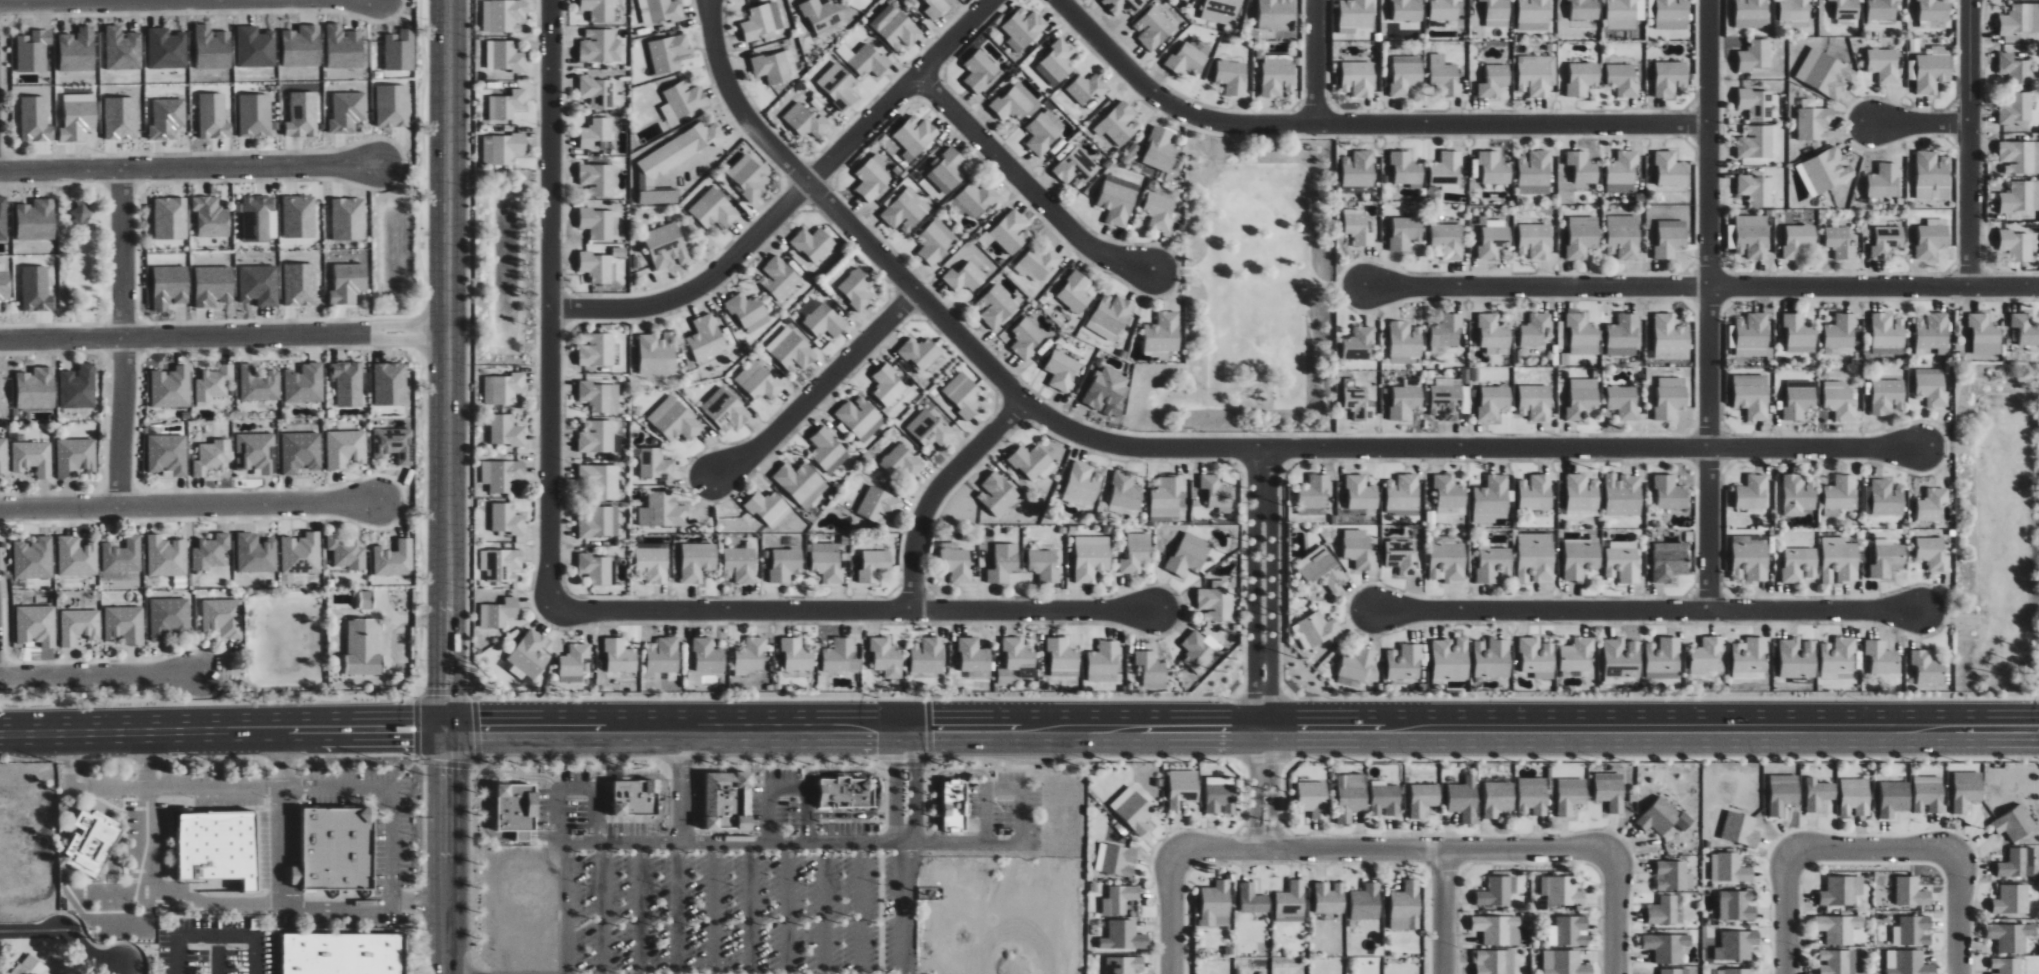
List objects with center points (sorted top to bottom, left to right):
road: (51, 1)
building: (912, 2)
building: (1123, 6)
building: (935, 8)
building: (1585, 9)
building: (1847, 9)
building: (1883, 9)
building: (599, 10)
building: (1407, 10)
building: (1445, 10)
building: (1534, 10)
building: (1933, 10)
building: (661, 11)
building: (1221, 11)
building: (1795, 12)
building: (1356, 13)
building: (1497, 13)
building: (1751, 13)
building: (1276, 14)
building: (1624, 14)
building: (1672, 14)
building: (504, 15)
building: (822, 17)
building: (2021, 19)
building: (763, 20)
building: (896, 26)
building: (1534, 26)
building: (1024, 28)
building: (1153, 28)
building: (302, 46)
building: (343, 46)
building: (600, 46)
building: (213, 47)
building: (255, 47)
building: (122, 48)
building: (166, 49)
building: (77, 50)
building: (399, 50)
building: (33, 51)
building: (668, 53)
building: (1756, 55)
building: (505, 56)
building: (1186, 60)
building: (869, 61)
building: (1057, 62)
road: (1316, 62)
building: (1884, 64)
building: (772, 68)
building: (2015, 68)
building: (980, 71)
building: (1826, 73)
building: (1406, 74)
building: (1445, 74)
building: (1536, 74)
building: (1232, 76)
building: (1276, 77)
building: (1582, 78)
building: (1671, 78)
building: (1358, 79)
building: (1622, 79)
building: (1495, 80)
building: (838, 85)
building: (1087, 88)
building: (598, 92)
building: (682, 100)
building: (1016, 102)
building: (508, 104)
building: (1757, 104)
building: (392, 105)
building: (2017, 108)
building: (347, 112)
building: (255, 115)
building: (302, 115)
building: (213, 116)
building: (78, 117)
building: (120, 118)
building: (167, 118)
building: (35, 120)
building: (806, 121)
building: (1815, 123)
building: (1119, 124)
road: (1923, 124)
road: (1361, 125)
building: (596, 132)
building: (1044, 132)
building: (915, 136)
building: (1756, 142)
road: (1971, 142)
building: (502, 148)
building: (1160, 150)
building: (2020, 157)
building: (674, 161)
road: (190, 166)
building: (1075, 167)
building: (1582, 167)
building: (1494, 168)
building: (1358, 169)
building: (1407, 169)
building: (1446, 169)
building: (1670, 169)
building: (1828, 170)
building: (947, 171)
building: (1534, 173)
building: (1622, 173)
building: (750, 175)
building: (872, 178)
building: (598, 179)
building: (1885, 181)
road: (1025, 187)
building: (1757, 190)
road: (790, 195)
building: (2021, 196)
building: (975, 200)
building: (1117, 203)
building: (714, 210)
building: (906, 210)
building: (1158, 211)
building: (81, 213)
building: (299, 216)
building: (212, 217)
building: (260, 217)
building: (171, 218)
building: (3, 219)
building: (348, 219)
building: (36, 220)
building: (598, 223)
building: (1357, 227)
building: (1011, 232)
building: (1405, 233)
building: (1582, 236)
building: (1623, 236)
building: (1753, 236)
building: (1671, 238)
building: (1932, 238)
building: (1494, 239)
building: (1448, 240)
building: (1799, 240)
building: (935, 241)
building: (1535, 241)
building: (1843, 241)
building: (1887, 242)
building: (813, 244)
building: (2016, 245)
building: (666, 246)
building: (1039, 264)
building: (596, 267)
building: (965, 277)
building: (779, 278)
building: (348, 283)
building: (5, 284)
building: (258, 284)
building: (300, 284)
road: (1700, 285)
building: (170, 286)
building: (213, 286)
building: (856, 288)
building: (36, 289)
building: (1075, 292)
road: (551, 304)
road: (1709, 304)
building: (996, 306)
building: (748, 311)
building: (1110, 316)
building: (822, 323)
building: (2025, 328)
building: (1535, 329)
building: (1840, 331)
building: (1886, 331)
building: (1446, 333)
building: (1494, 333)
building: (1799, 333)
building: (1932, 333)
building: (1582, 334)
building: (1671, 334)
building: (1162, 335)
building: (1623, 335)
road: (121, 336)
road: (224, 336)
building: (1753, 336)
building: (1984, 336)
building: (706, 338)
building: (1026, 338)
building: (1404, 341)
road: (449, 344)
building: (1359, 344)
building: (597, 350)
building: (791, 350)
building: (1887, 352)
building: (657, 353)
building: (919, 353)
building: (1061, 370)
building: (213, 382)
building: (348, 383)
building: (761, 383)
building: (258, 384)
building: (304, 384)
building: (390, 384)
building: (888, 385)
building: (1931, 386)
building: (77, 387)
building: (171, 387)
building: (504, 388)
building: (35, 389)
building: (1108, 390)
road: (816, 391)
building: (0, 393)
building: (600, 396)
building: (1449, 396)
building: (1886, 396)
building: (1671, 397)
building: (966, 398)
building: (1406, 399)
building: (1582, 399)
building: (1752, 399)
building: (1799, 399)
building: (1839, 400)
building: (1357, 401)
building: (1494, 401)
building: (1536, 402)
building: (1624, 402)
building: (728, 412)
building: (859, 416)
building: (674, 420)
building: (929, 429)
building: (506, 430)
building: (597, 436)
building: (393, 444)
building: (345, 448)
road: (1203, 448)
building: (828, 450)
building: (256, 452)
building: (301, 452)
building: (168, 454)
building: (3, 456)
building: (75, 457)
building: (212, 457)
building: (32, 458)
building: (901, 462)
building: (1033, 462)
building: (655, 464)
building: (503, 475)
building: (600, 480)
building: (801, 483)
building: (1083, 484)
building: (1217, 492)
building: (1315, 492)
building: (1536, 492)
road: (938, 493)
building: (997, 493)
building: (1361, 493)
building: (1403, 493)
building: (1670, 493)
building: (1841, 493)
building: (1125, 494)
building: (1623, 494)
building: (1753, 494)
building: (1799, 494)
building: (1167, 495)
building: (1450, 495)
building: (1582, 495)
building: (1492, 496)
building: (1887, 497)
road: (188, 503)
building: (878, 505)
building: (1932, 505)
building: (768, 508)
building: (663, 510)
building: (507, 519)
building: (600, 523)
building: (1358, 549)
building: (210, 552)
building: (346, 552)
building: (1932, 552)
building: (256, 553)
building: (1136, 553)
building: (301, 554)
building: (1189, 554)
building: (166, 556)
building: (76, 557)
building: (1091, 557)
building: (1402, 557)
building: (1535, 557)
building: (1581, 557)
building: (33, 559)
building: (123, 559)
building: (393, 559)
building: (1888, 559)
building: (1840, 560)
building: (697, 561)
building: (827, 561)
building: (1448, 561)
building: (1623, 561)
building: (1671, 562)
building: (1750, 562)
building: (1004, 563)
building: (501, 564)
building: (652, 564)
building: (785, 564)
building: (957, 564)
building: (1494, 564)
building: (1800, 564)
building: (739, 565)
building: (874, 565)
building: (1044, 565)
building: (595, 569)
building: (1323, 572)
road: (1254, 588)
road: (1272, 588)
building: (366, 600)
building: (1216, 602)
road: (731, 609)
road: (1029, 609)
road: (1644, 610)
building: (499, 613)
building: (168, 617)
building: (222, 617)
building: (36, 624)
building: (125, 624)
building: (79, 626)
building: (1318, 629)
building: (363, 647)
building: (1197, 651)
building: (530, 654)
building: (797, 654)
building: (1577, 654)
building: (663, 655)
building: (708, 655)
building: (751, 655)
building: (928, 655)
building: (974, 655)
building: (1749, 655)
building: (620, 656)
building: (841, 657)
building: (887, 657)
building: (1062, 657)
building: (1705, 657)
building: (1881, 657)
building: (1492, 658)
building: (1537, 658)
building: (1621, 658)
building: (1663, 658)
building: (1797, 658)
building: (1451, 659)
building: (1017, 660)
building: (1104, 662)
building: (1404, 662)
building: (573, 663)
building: (1357, 667)
building: (1927, 667)
building: (1151, 670)
building: (978, 674)
road: (98, 675)
traffic signals: (449, 689)
road: (448, 709)
road: (1647, 727)
traffic signals: (480, 729)
road: (867, 729)
traffic signals: (875, 729)
traffic signals: (932, 729)
traffic signals: (413, 731)
road: (240, 733)
road: (446, 749)
traffic signals: (446, 768)
traffic signals: (915, 768)
road: (657, 777)
road: (938, 779)
road: (262, 786)
road: (683, 786)
road: (895, 787)
road: (915, 787)
road: (576, 789)
road: (788, 789)
building: (1182, 789)
road: (1255, 789)
road: (1273, 789)
road: (876, 790)
road: (1005, 790)
building: (1967, 790)
building: (1610, 791)
building: (1783, 793)
building: (844, 794)
building: (1818, 794)
building: (1929, 794)
building: (1220, 795)
building: (1570, 795)
building: (1350, 796)
building: (1533, 796)
building: (1855, 797)
building: (1498, 798)
building: (1894, 798)
building: (622, 799)
building: (645, 799)
building: (1313, 799)
building: (1424, 799)
building: (1464, 799)
building: (1385, 800)
building: (726, 803)
road: (485, 805)
parking lot: (1007, 806)
building: (952, 807)
building: (514, 809)
building: (1134, 810)
road: (557, 816)
road: (595, 816)
road: (769, 816)
road: (807, 816)
road: (987, 816)
road: (1023, 816)
road: (283, 817)
building: (1664, 817)
building: (2015, 823)
building: (1741, 829)
building: (92, 842)
road: (731, 843)
road: (964, 843)
building: (218, 847)
building: (337, 849)
road: (1394, 850)
road: (1871, 850)
building: (1116, 860)
building: (2018, 863)
building: (1730, 868)
road: (446, 871)
building: (1674, 876)
road: (127, 888)
building: (1562, 891)
building: (1842, 891)
building: (1497, 892)
building: (1911, 892)
parking lot: (728, 893)
building: (1330, 897)
building: (1253, 899)
building: (1119, 900)
building: (2012, 900)
building: (1292, 901)
building: (1366, 902)
building: (1407, 903)
building: (1216, 905)
building: (1737, 905)
road: (567, 908)
road: (605, 908)
road: (641, 908)
road: (679, 908)
road: (715, 908)
road: (752, 908)
road: (789, 908)
road: (825, 908)
road: (862, 908)
road: (905, 908)
building: (1664, 911)
road: (1444, 912)
road: (1958, 912)
road: (1172, 913)
road: (1616, 913)
road: (1787, 913)
building: (1839, 929)
building: (1499, 930)
building: (1568, 931)
building: (1913, 931)
road: (67, 933)
road: (216, 934)
building: (1124, 936)
building: (2011, 937)
building: (1737, 945)
building: (1667, 947)
road: (176, 954)
road: (217, 954)
road: (254, 954)
building: (344, 954)
building: (1495, 962)
building: (1838, 962)
building: (1565, 963)
building: (1908, 963)
building: (1124, 965)
building: (29, 966)
building: (2006, 966)
building: (1675, 971)
building: (1738, 971)

